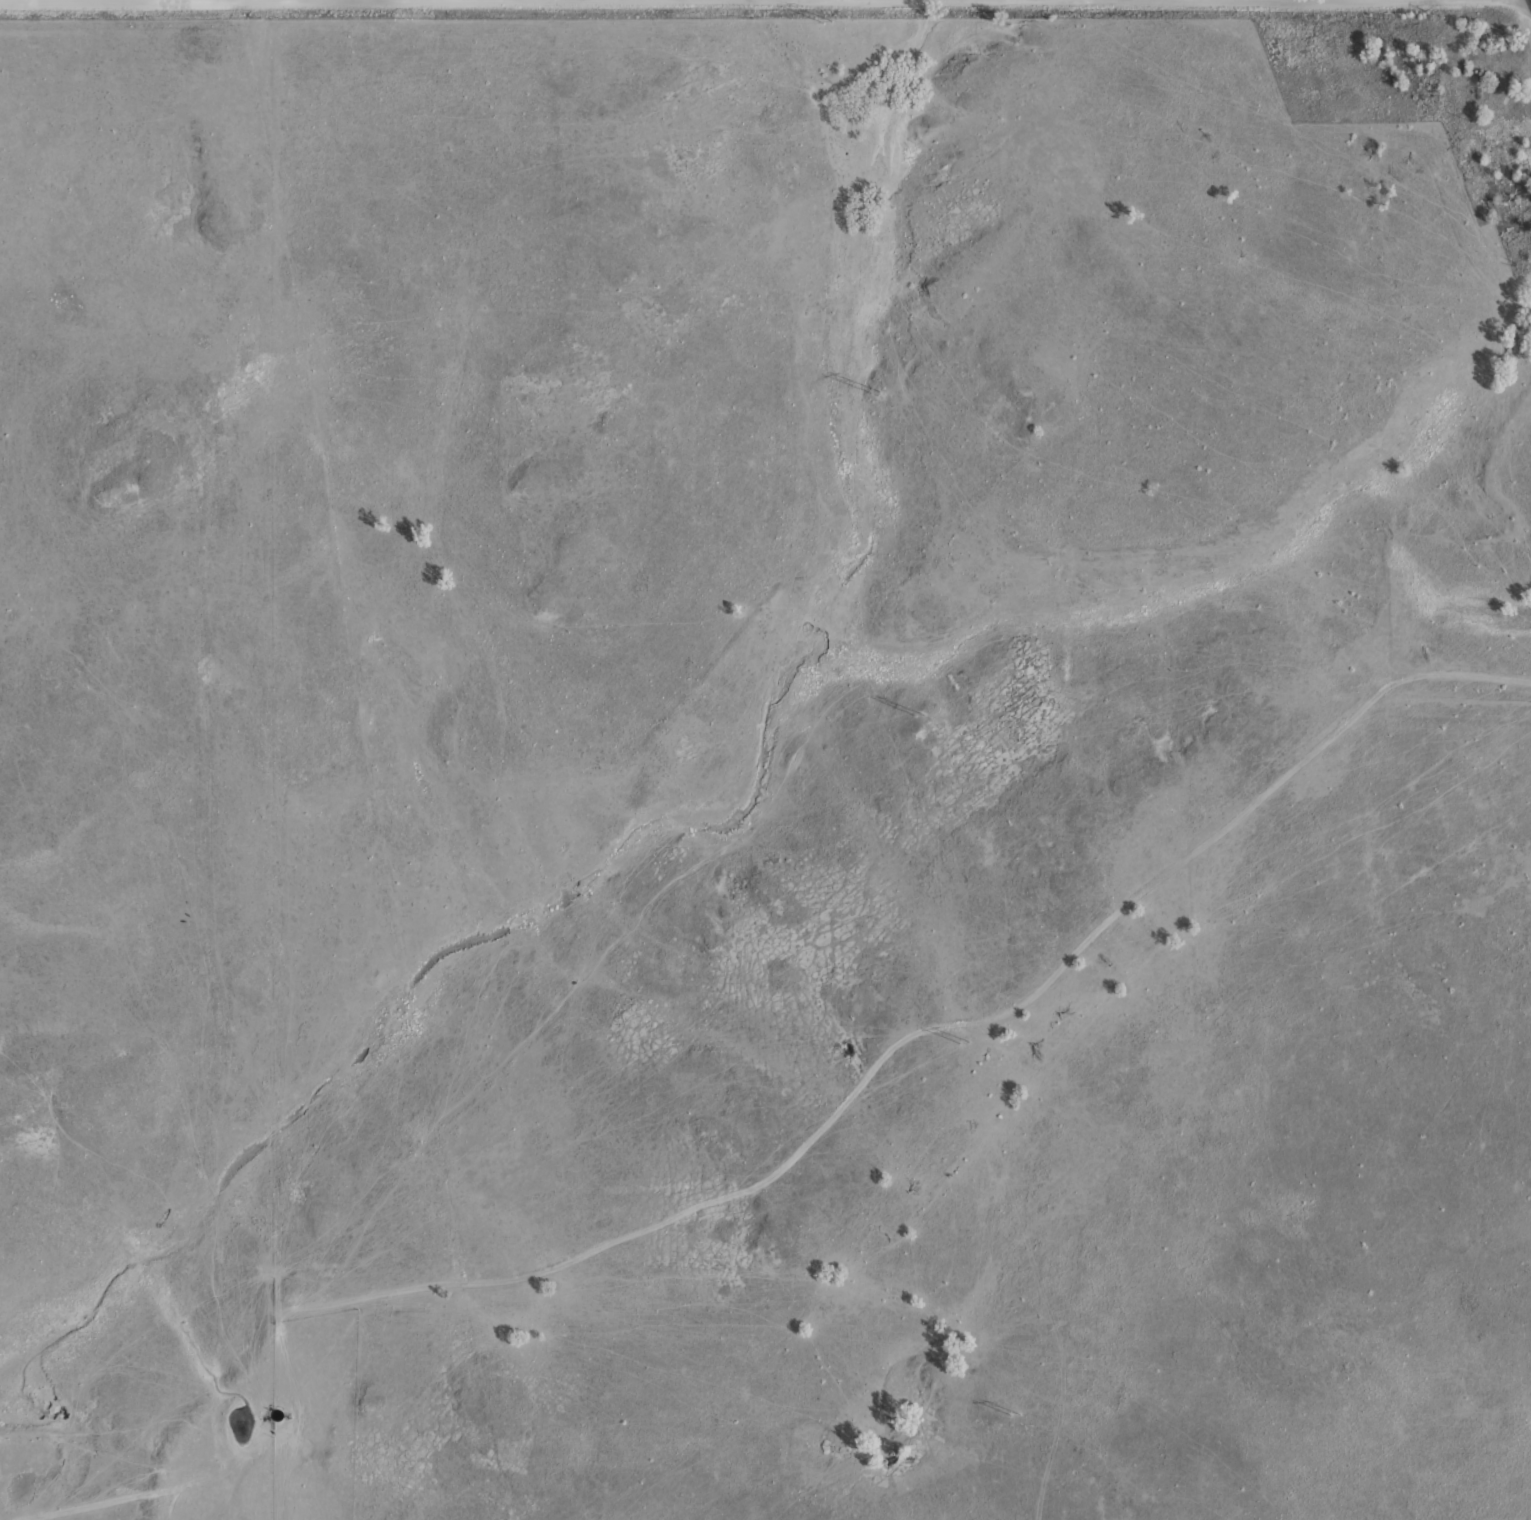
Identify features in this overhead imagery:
road: (280, 1)
road: (1139, 1)
power tower: (828, 22)
power tower: (877, 392)
power tower: (919, 714)
power tower: (965, 1043)
road: (333, 1302)
power tower: (1014, 1415)

